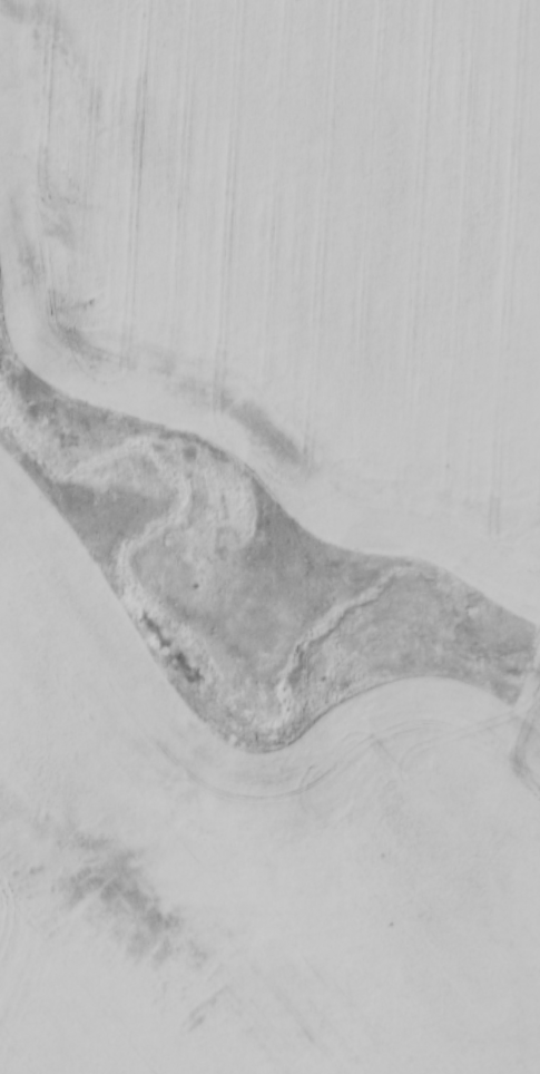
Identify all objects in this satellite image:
crop: (298, 250)

